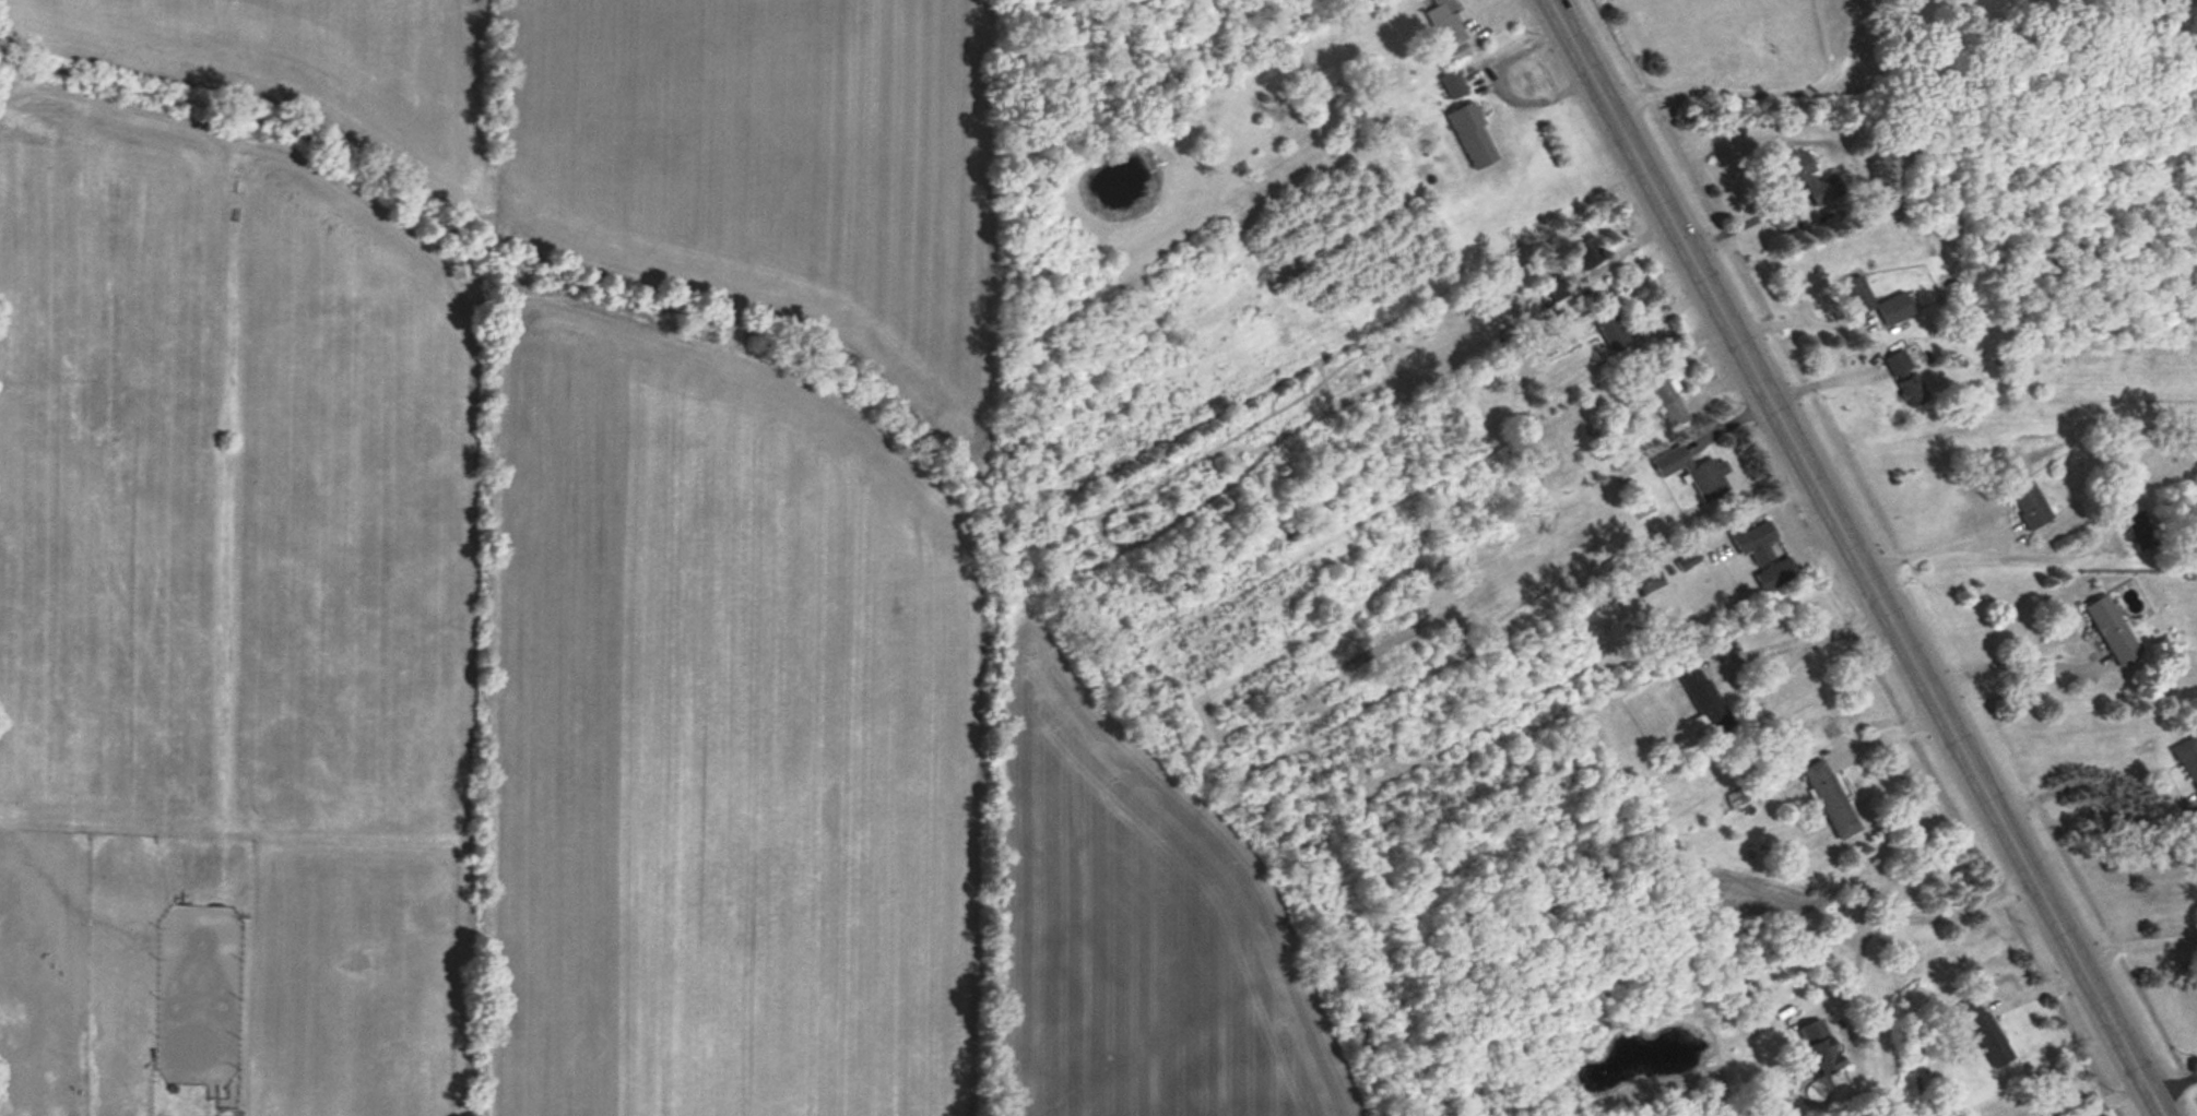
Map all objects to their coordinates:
building: (1449, 29)
building: (1453, 86)
road: (1509, 88)
road: (1713, 95)
building: (1472, 135)
building: (1808, 177)
building: (1585, 257)
building: (1855, 290)
building: (1894, 309)
building: (1616, 340)
road: (1845, 343)
building: (1898, 364)
building: (1912, 391)
building: (1667, 403)
building: (1694, 474)
building: (2028, 502)
building: (2139, 532)
building: (1756, 543)
road: (1935, 549)
road: (1854, 558)
building: (1775, 575)
building: (2112, 632)
road: (1744, 651)
road: (2001, 664)
building: (1705, 703)
road: (2090, 785)
building: (1830, 800)
road: (2134, 939)
road: (1862, 952)
building: (1984, 1032)
building: (1819, 1048)
road: (2172, 1081)

